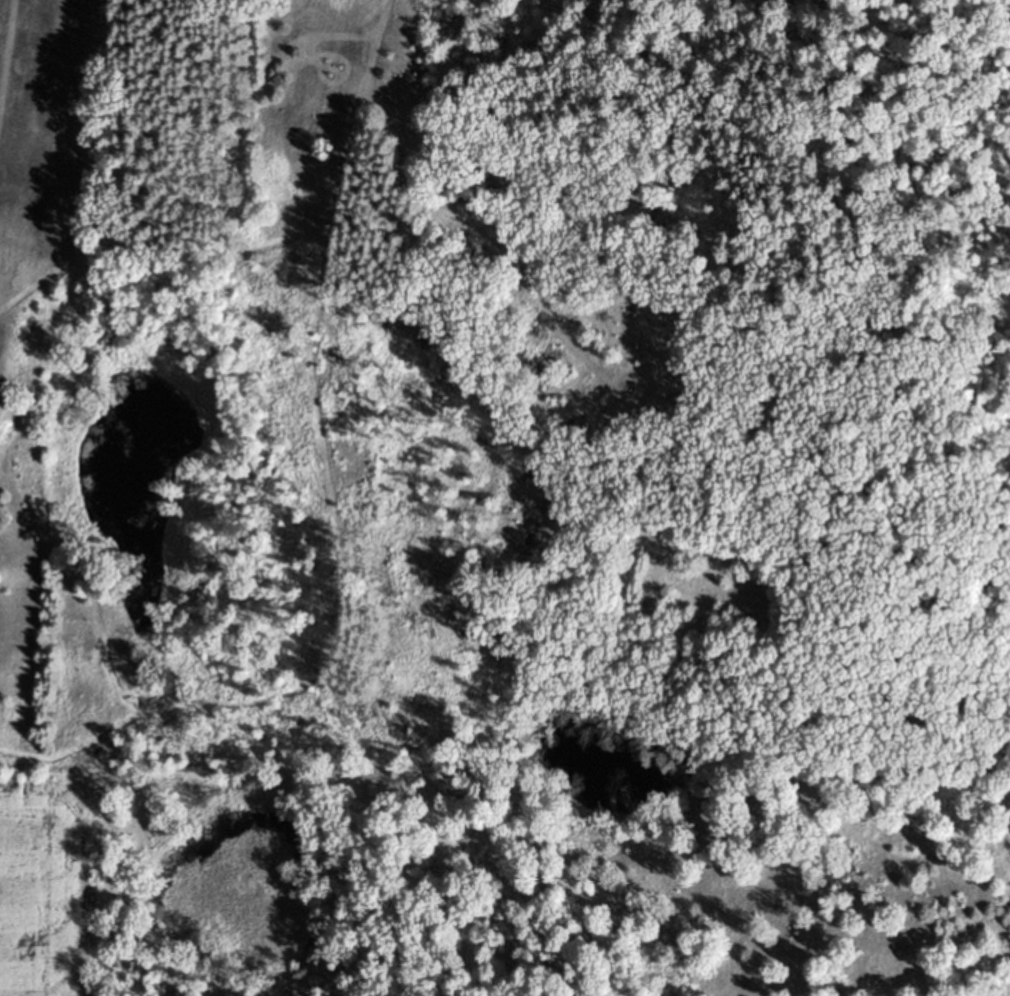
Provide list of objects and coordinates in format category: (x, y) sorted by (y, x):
airport runway: (6, 45)
airport: (41, 323)

